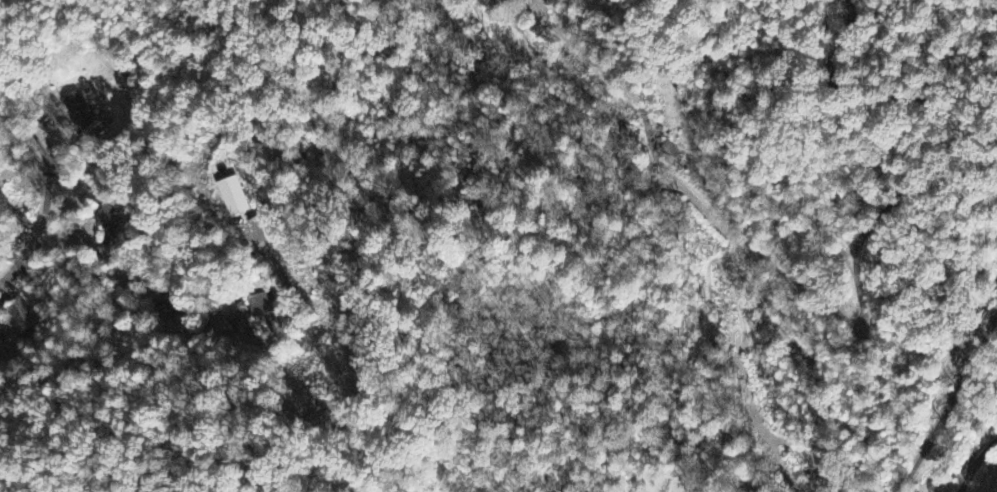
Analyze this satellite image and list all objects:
building: (78, 112)
building: (233, 198)
building: (104, 219)
road: (720, 227)
road: (26, 252)
building: (258, 306)
building: (228, 309)
building: (22, 315)
road: (152, 334)

